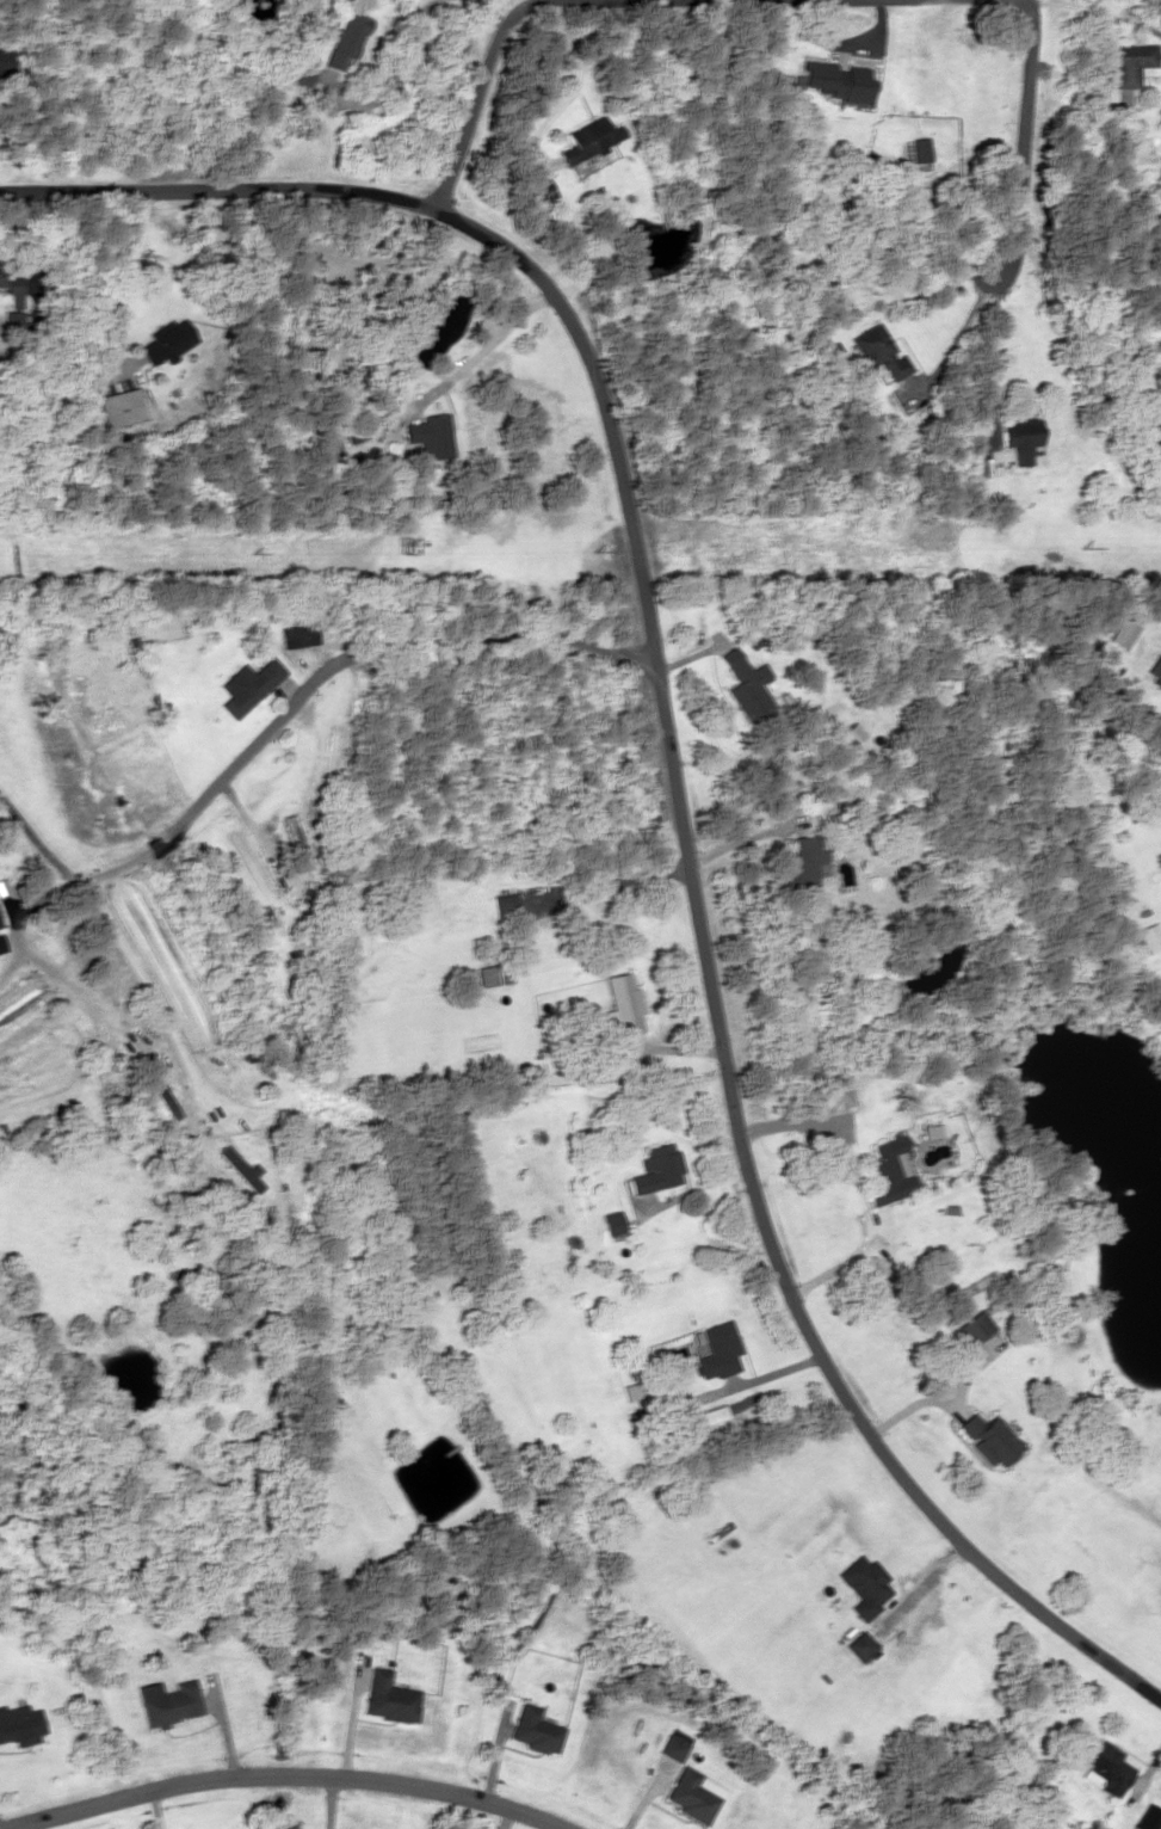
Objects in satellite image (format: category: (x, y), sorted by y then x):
building: (347, 39)
building: (2, 61)
building: (1132, 63)
road: (483, 70)
building: (301, 78)
building: (851, 84)
building: (588, 138)
road: (1023, 138)
building: (921, 149)
building: (13, 302)
building: (168, 341)
building: (879, 352)
building: (121, 407)
building: (428, 435)
building: (1023, 437)
building: (297, 635)
building: (740, 684)
building: (248, 686)
road: (304, 690)
road: (674, 778)
building: (295, 842)
building: (802, 857)
building: (1103, 879)
building: (506, 907)
building: (1150, 938)
building: (494, 975)
building: (625, 1004)
building: (88, 1041)
building: (656, 1169)
building: (883, 1171)
building: (612, 1223)
building: (970, 1328)
building: (718, 1350)
building: (988, 1441)
building: (865, 1587)
building: (859, 1648)
building: (388, 1699)
building: (171, 1705)
building: (19, 1725)
building: (535, 1731)
building: (673, 1748)
building: (1105, 1766)
road: (274, 1774)
building: (690, 1796)

